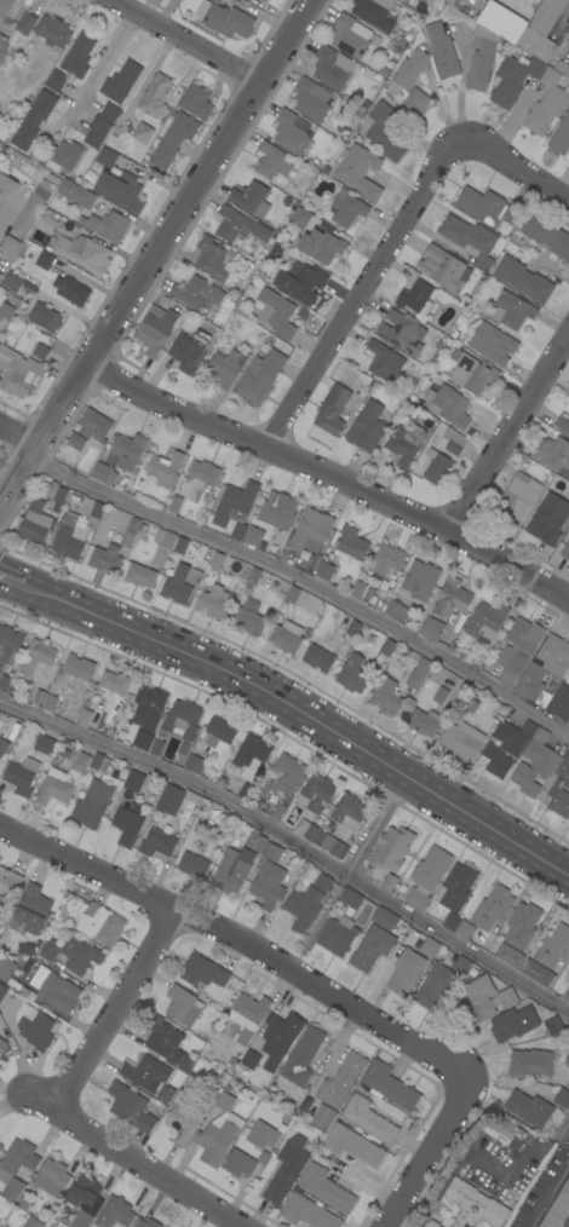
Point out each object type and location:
building: (265, 0)
building: (217, 1)
building: (433, 1)
building: (5, 7)
building: (372, 10)
road: (166, 12)
building: (224, 19)
building: (27, 23)
building: (502, 23)
building: (542, 30)
building: (53, 31)
building: (351, 36)
road: (184, 39)
building: (2, 41)
building: (442, 51)
building: (79, 56)
building: (561, 57)
building: (482, 58)
road: (102, 64)
building: (329, 69)
building: (408, 71)
building: (513, 79)
building: (56, 81)
building: (121, 81)
building: (155, 97)
building: (196, 100)
building: (310, 100)
building: (415, 103)
building: (547, 104)
building: (34, 120)
building: (102, 125)
building: (292, 132)
building: (385, 132)
building: (143, 133)
building: (561, 137)
building: (173, 140)
building: (64, 156)
building: (107, 157)
building: (272, 161)
road: (515, 168)
building: (360, 172)
building: (6, 185)
building: (121, 190)
building: (252, 198)
building: (33, 208)
building: (347, 208)
building: (488, 208)
building: (94, 213)
building: (300, 218)
building: (46, 224)
building: (240, 226)
building: (546, 235)
building: (470, 238)
building: (322, 246)
building: (8, 248)
road: (154, 249)
building: (84, 253)
building: (45, 259)
building: (213, 259)
building: (442, 267)
building: (0, 275)
building: (524, 280)
building: (13, 282)
building: (305, 282)
building: (71, 290)
road: (358, 293)
building: (199, 294)
building: (416, 298)
building: (512, 310)
building: (6, 311)
building: (276, 312)
building: (46, 317)
building: (400, 328)
building: (155, 330)
building: (495, 346)
building: (41, 351)
building: (188, 352)
building: (385, 362)
building: (228, 367)
building: (18, 371)
building: (471, 373)
building: (260, 376)
building: (449, 405)
building: (333, 410)
building: (93, 425)
building: (563, 425)
building: (367, 427)
road: (507, 431)
road: (18, 433)
building: (76, 442)
building: (404, 442)
building: (454, 442)
building: (126, 451)
building: (556, 455)
building: (437, 467)
building: (165, 468)
building: (102, 472)
road: (329, 474)
building: (199, 479)
road: (25, 492)
building: (61, 495)
building: (517, 499)
building: (235, 503)
building: (276, 511)
building: (94, 515)
building: (548, 519)
building: (35, 523)
building: (568, 529)
building: (238, 531)
building: (311, 531)
building: (131, 532)
building: (254, 536)
building: (70, 537)
building: (352, 542)
building: (180, 546)
building: (163, 547)
building: (565, 552)
building: (387, 558)
building: (105, 559)
building: (326, 570)
building: (140, 575)
building: (194, 576)
building: (254, 576)
road: (11, 577)
building: (420, 580)
road: (304, 581)
building: (178, 584)
building: (358, 591)
building: (293, 594)
building: (452, 598)
building: (215, 603)
building: (397, 611)
building: (487, 621)
building: (249, 622)
building: (354, 629)
building: (431, 629)
building: (287, 636)
building: (10, 644)
building: (390, 647)
building: (519, 649)
building: (36, 657)
building: (318, 658)
building: (1, 667)
building: (79, 667)
building: (544, 670)
building: (419, 673)
building: (352, 674)
building: (5, 682)
building: (115, 682)
building: (386, 696)
building: (439, 696)
building: (45, 701)
building: (559, 702)
building: (149, 708)
building: (85, 716)
road: (303, 719)
building: (183, 722)
building: (424, 722)
building: (220, 731)
building: (143, 741)
building: (462, 741)
building: (45, 744)
building: (4, 747)
building: (156, 747)
building: (505, 747)
building: (251, 750)
building: (541, 754)
building: (63, 755)
building: (100, 762)
building: (194, 764)
building: (288, 774)
building: (22, 776)
building: (63, 780)
building: (134, 780)
building: (527, 780)
building: (561, 789)
building: (316, 793)
building: (169, 800)
building: (93, 803)
building: (350, 808)
building: (277, 812)
building: (127, 825)
building: (309, 828)
road: (375, 828)
road: (293, 842)
building: (157, 843)
building: (334, 846)
building: (392, 848)
building: (272, 853)
building: (194, 865)
building: (236, 866)
building: (427, 877)
building: (323, 883)
building: (390, 883)
building: (269, 885)
building: (456, 887)
building: (7, 888)
building: (352, 899)
building: (304, 908)
building: (493, 908)
building: (33, 910)
building: (385, 918)
building: (452, 922)
building: (100, 923)
building: (523, 926)
building: (465, 929)
building: (338, 935)
road: (238, 941)
building: (554, 946)
building: (24, 947)
building: (372, 947)
building: (430, 947)
building: (50, 950)
building: (80, 955)
building: (510, 956)
building: (462, 966)
building: (6, 967)
building: (203, 972)
building: (407, 972)
building: (539, 973)
building: (568, 977)
building: (436, 985)
building: (56, 990)
building: (2, 991)
building: (507, 997)
building: (567, 997)
building: (479, 998)
building: (183, 1006)
road: (111, 1008)
building: (246, 1018)
building: (515, 1024)
building: (553, 1025)
building: (36, 1031)
building: (280, 1037)
building: (167, 1043)
building: (2, 1045)
building: (304, 1056)
building: (251, 1059)
building: (568, 1061)
building: (531, 1062)
building: (146, 1073)
building: (341, 1081)
building: (390, 1087)
building: (562, 1098)
building: (132, 1107)
building: (529, 1108)
building: (323, 1117)
building: (369, 1121)
building: (184, 1122)
building: (505, 1131)
building: (219, 1133)
building: (261, 1135)
building: (0, 1146)
building: (352, 1146)
road: (425, 1158)
building: (18, 1159)
building: (238, 1163)
road: (144, 1168)
building: (287, 1169)
building: (52, 1177)
building: (327, 1188)
road: (545, 1188)
building: (13, 1189)
building: (84, 1191)
building: (475, 1205)
building: (558, 1209)
building: (119, 1210)
building: (309, 1212)
building: (82, 1220)
building: (33, 1222)
building: (148, 1223)
building: (431, 1223)

